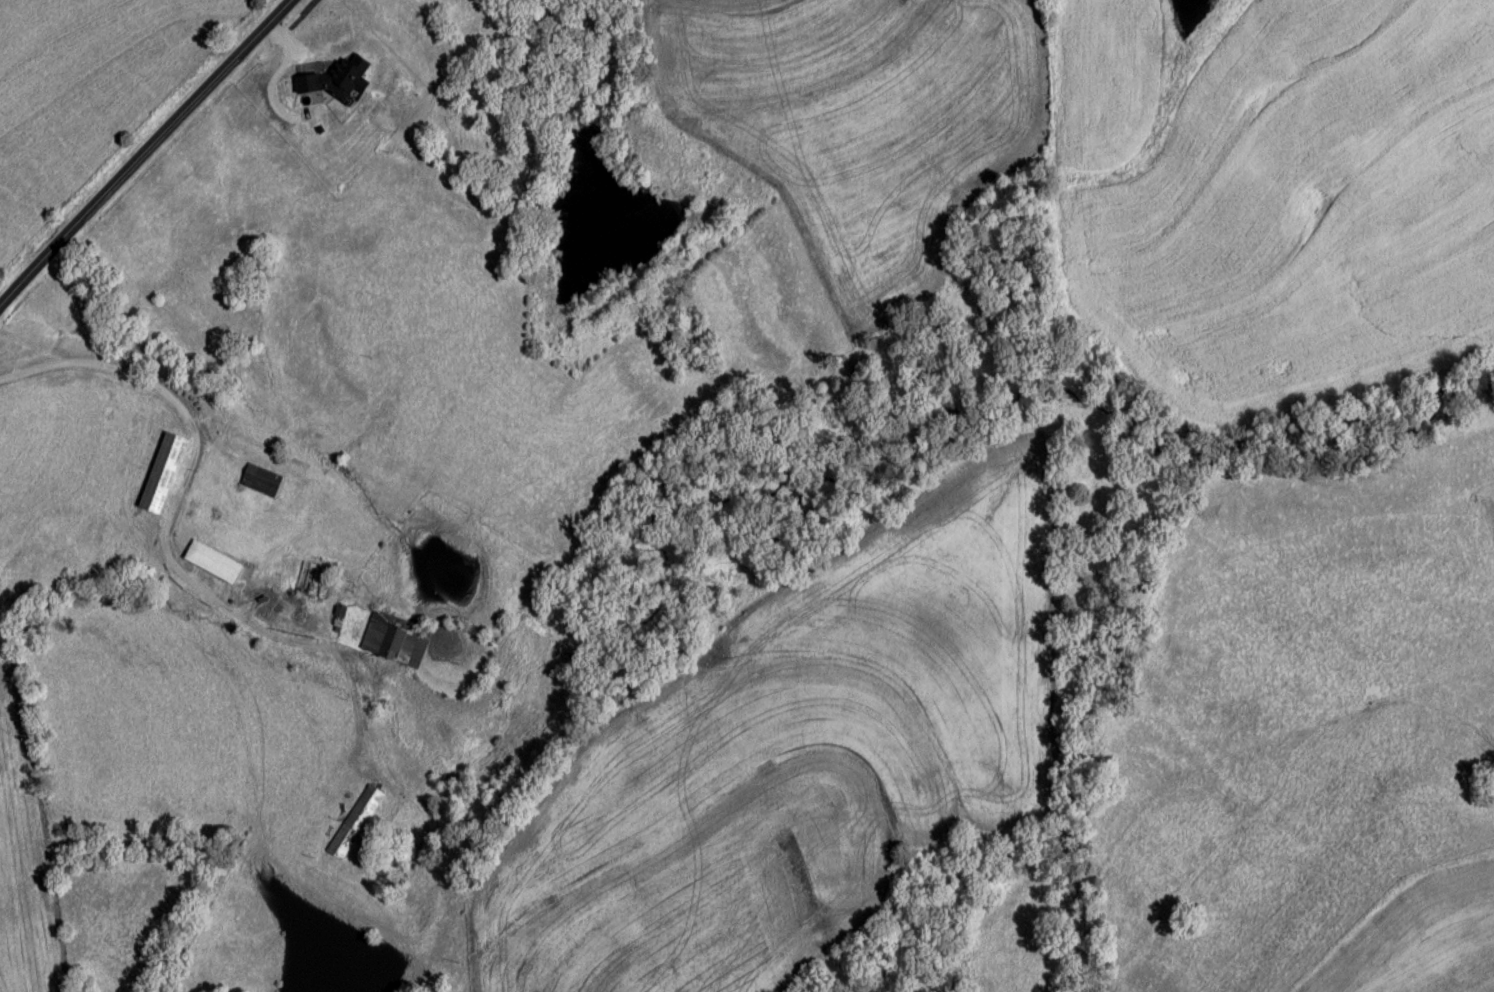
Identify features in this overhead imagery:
road: (170, 175)
building: (165, 474)
building: (264, 482)
building: (216, 563)
building: (397, 640)
building: (356, 824)

